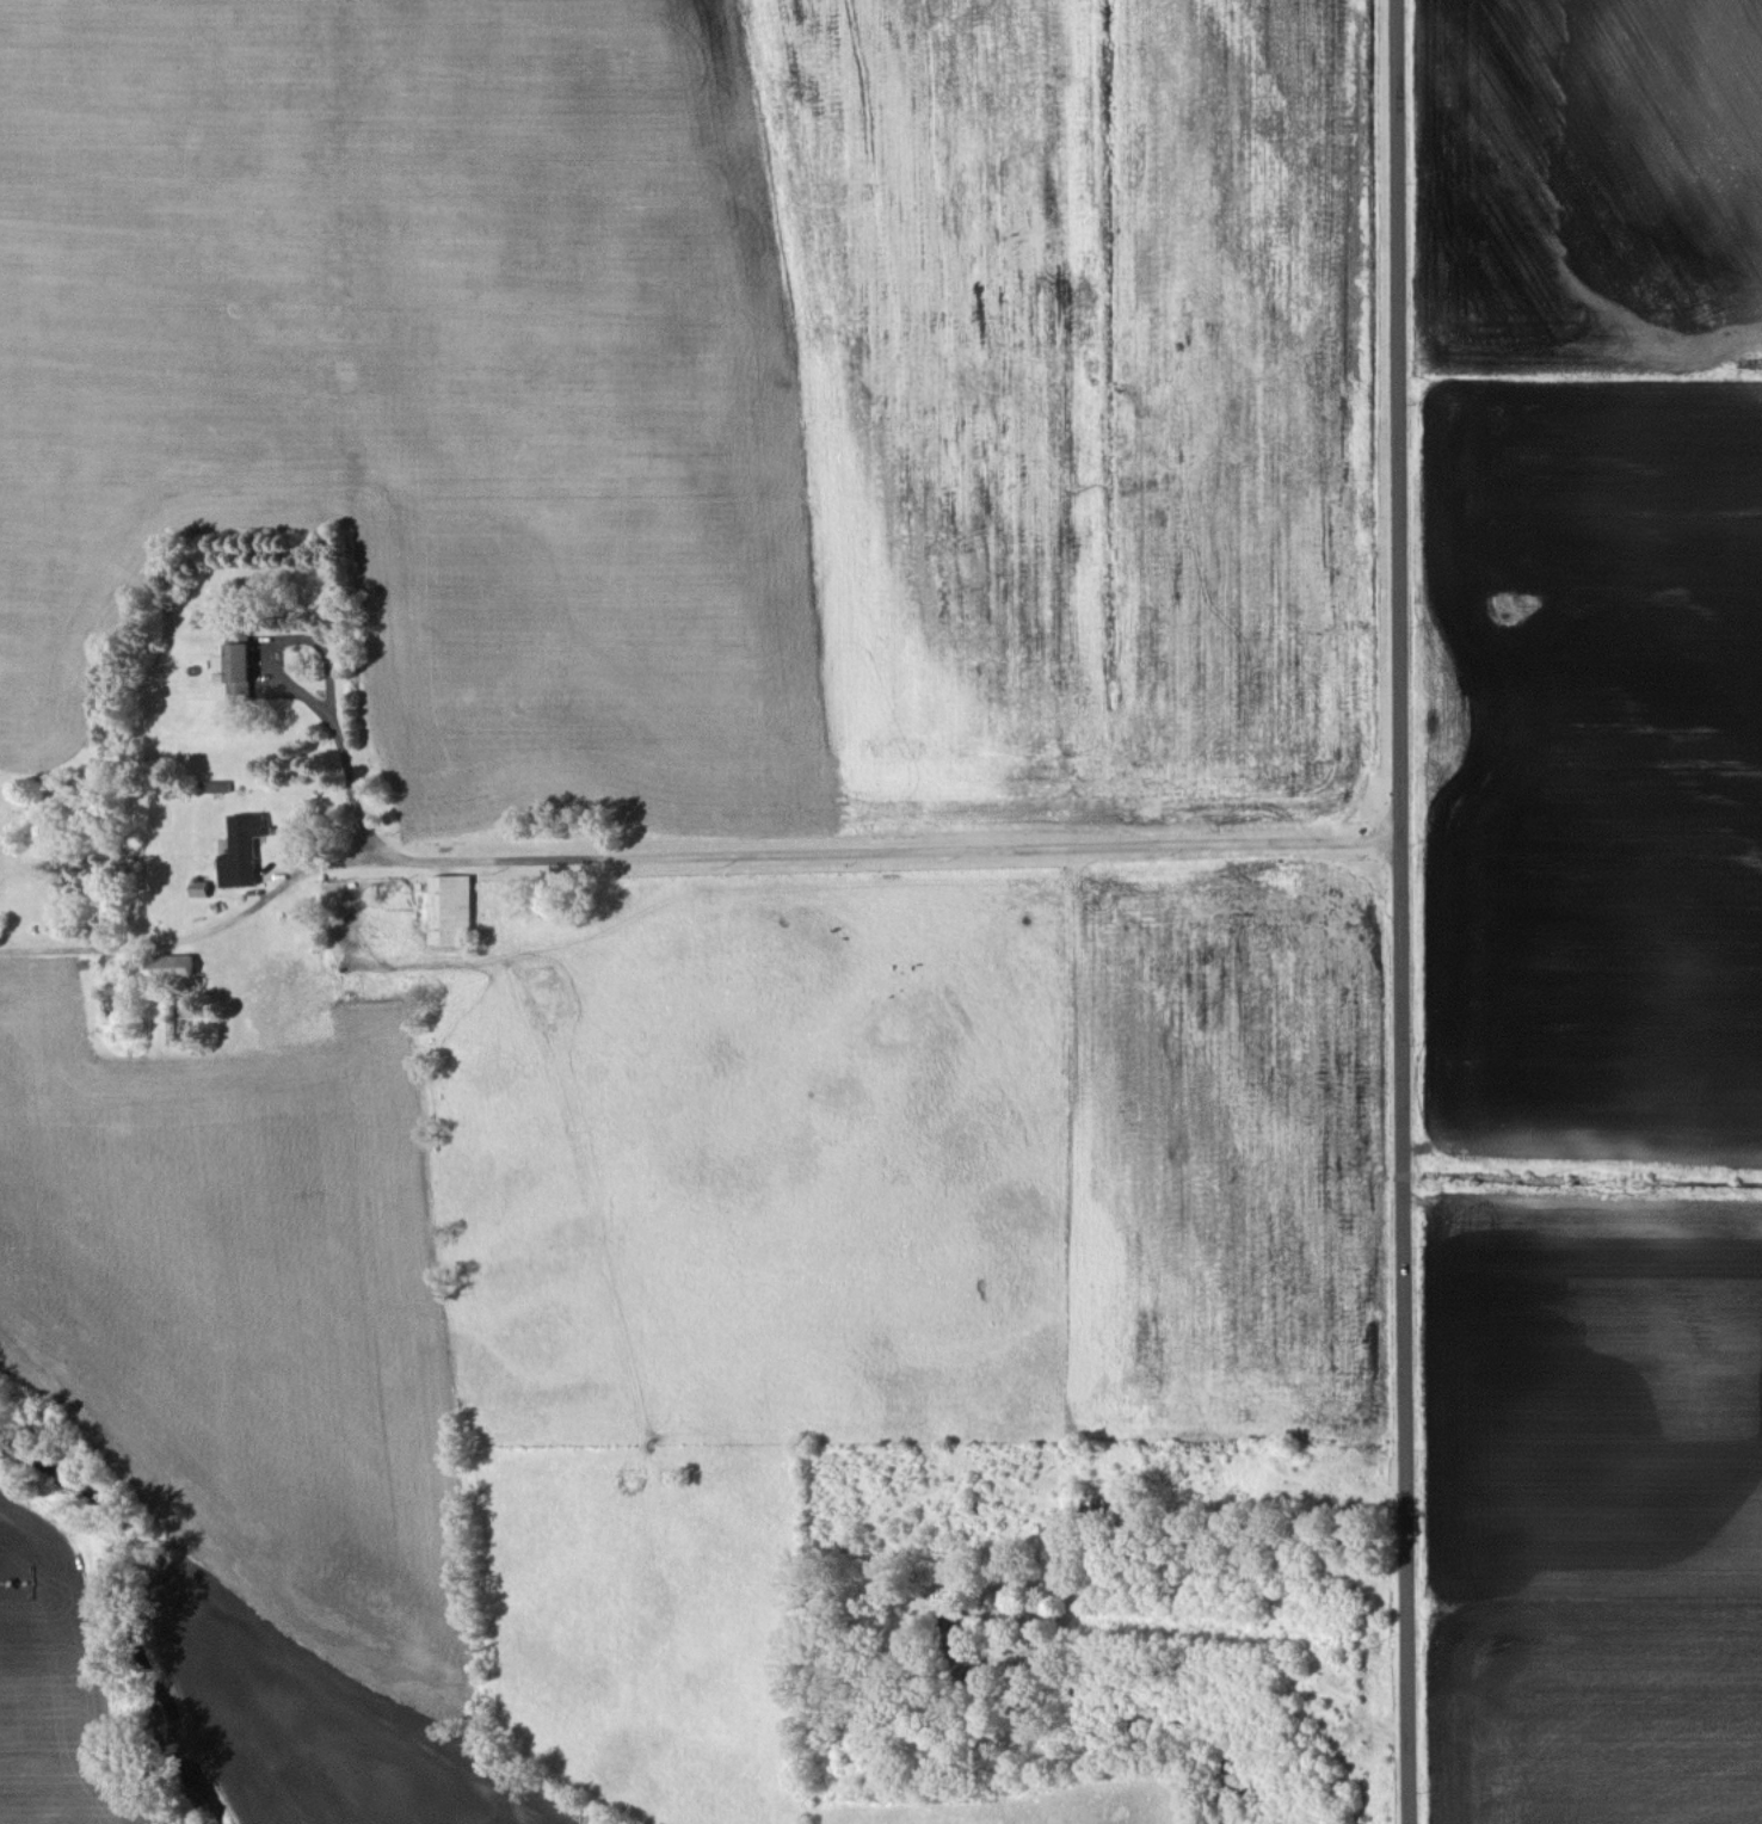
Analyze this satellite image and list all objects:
building: (239, 664)
building: (242, 849)
road: (710, 854)
building: (201, 887)
building: (450, 907)
road: (1405, 912)
road: (203, 931)
building: (173, 963)
road: (1181, 1533)

